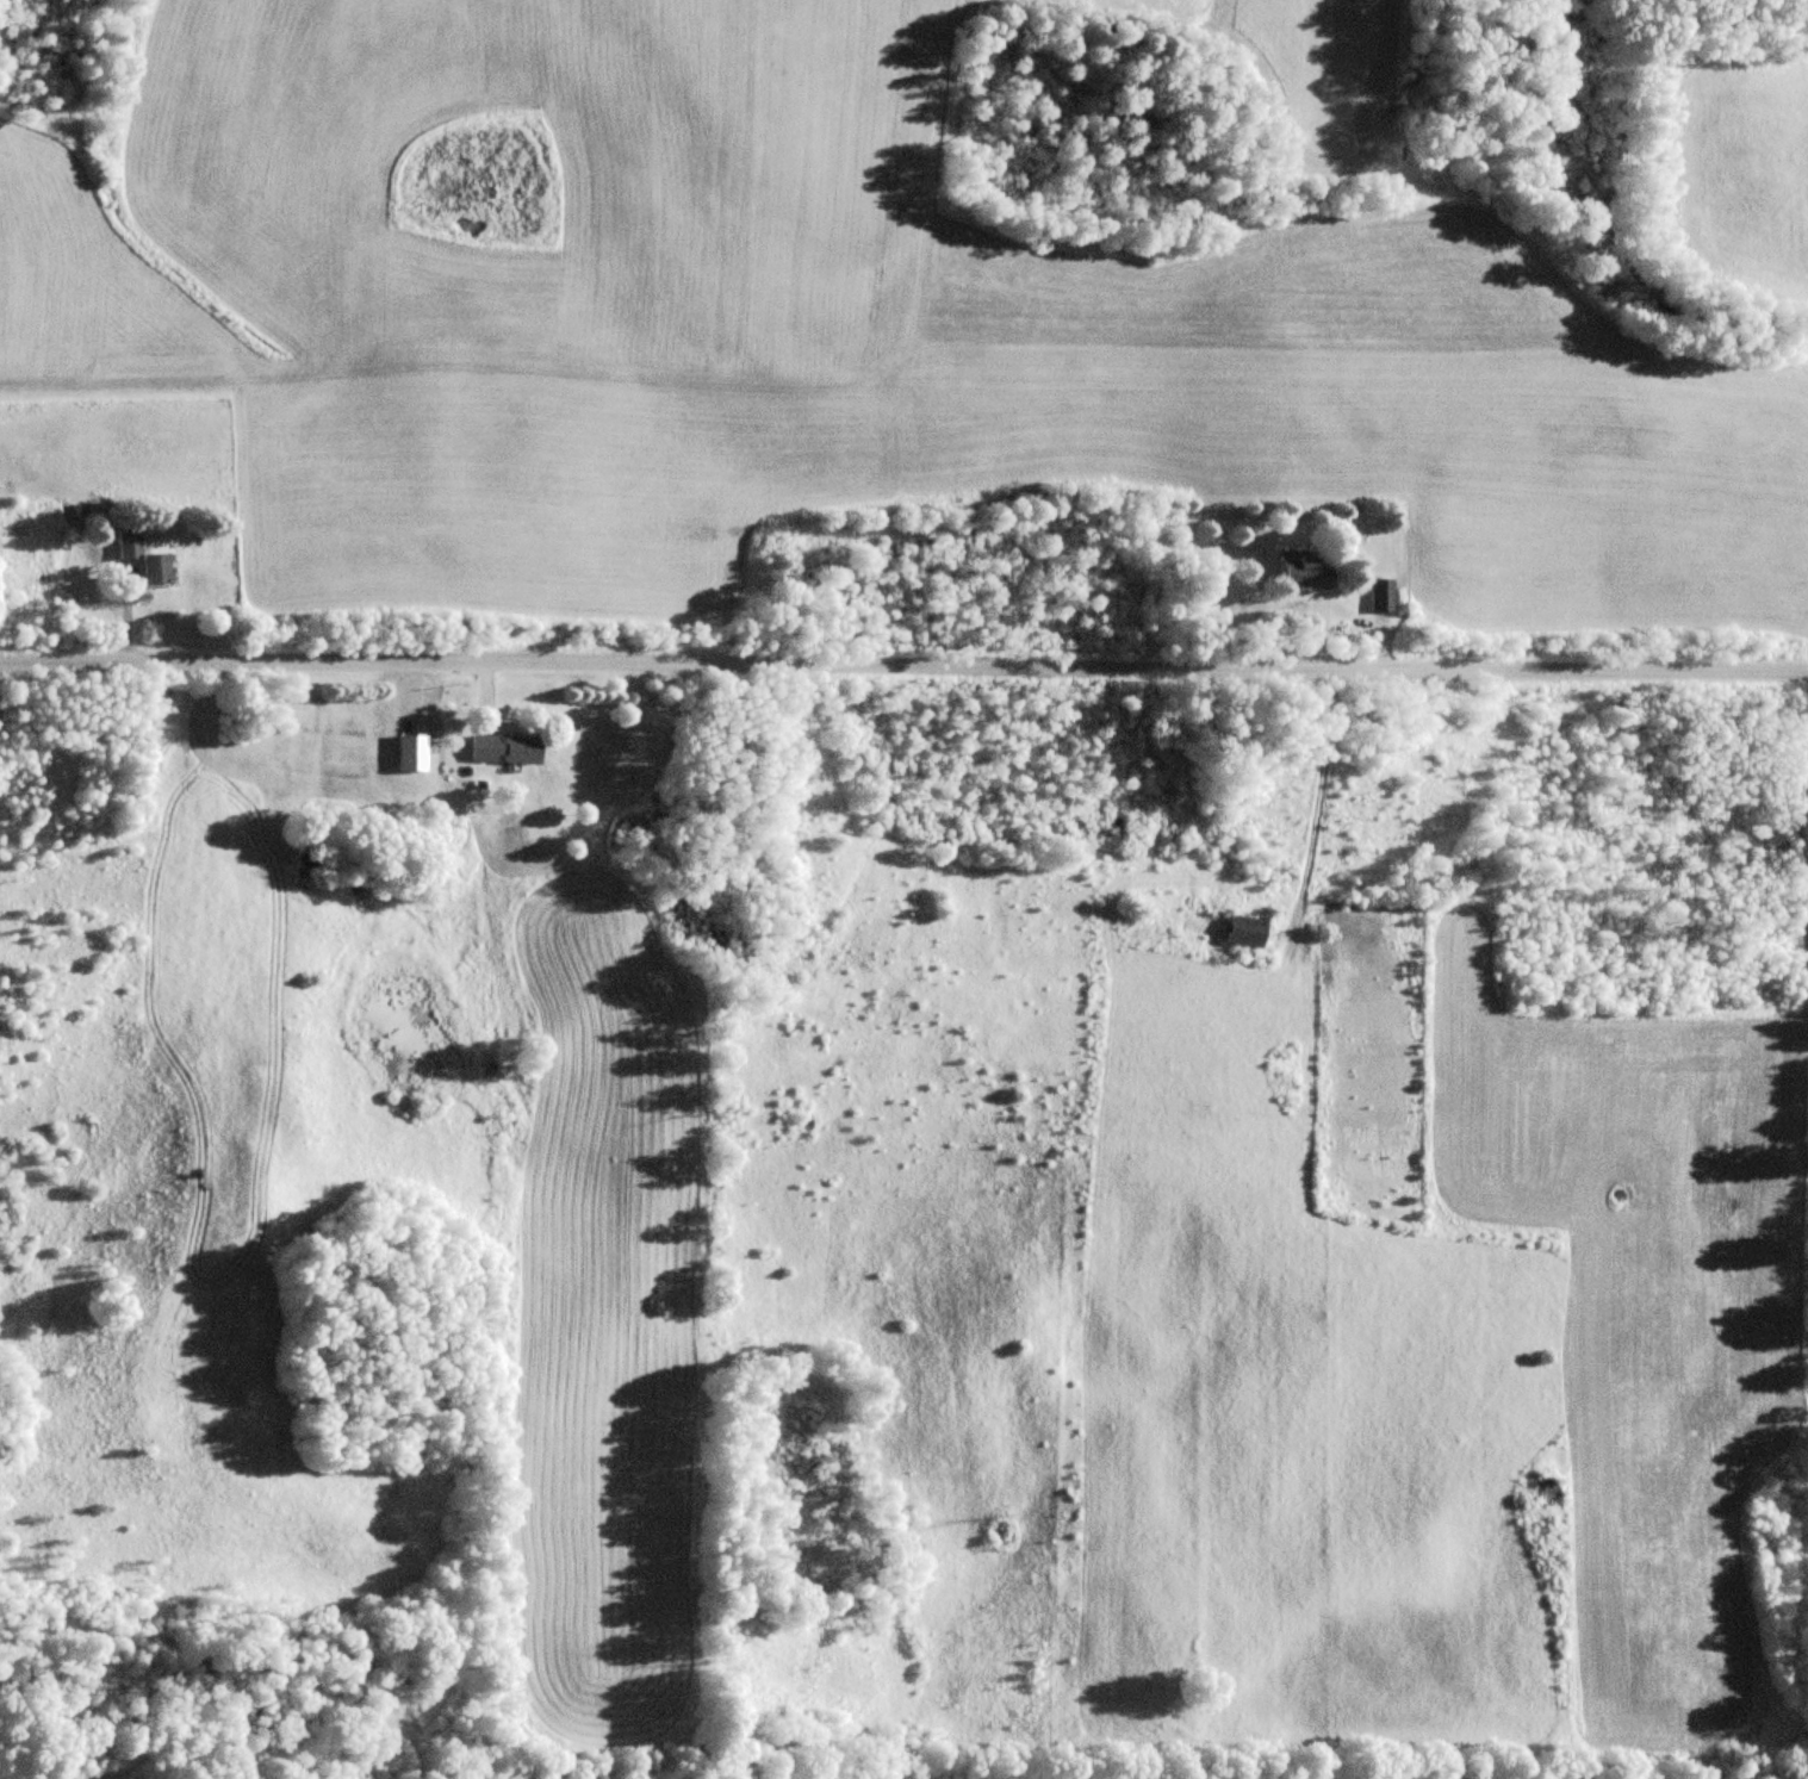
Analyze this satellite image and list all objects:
building: (130, 545)
building: (159, 570)
building: (1305, 572)
building: (1384, 595)
road: (903, 661)
building: (509, 748)
building: (1247, 931)

